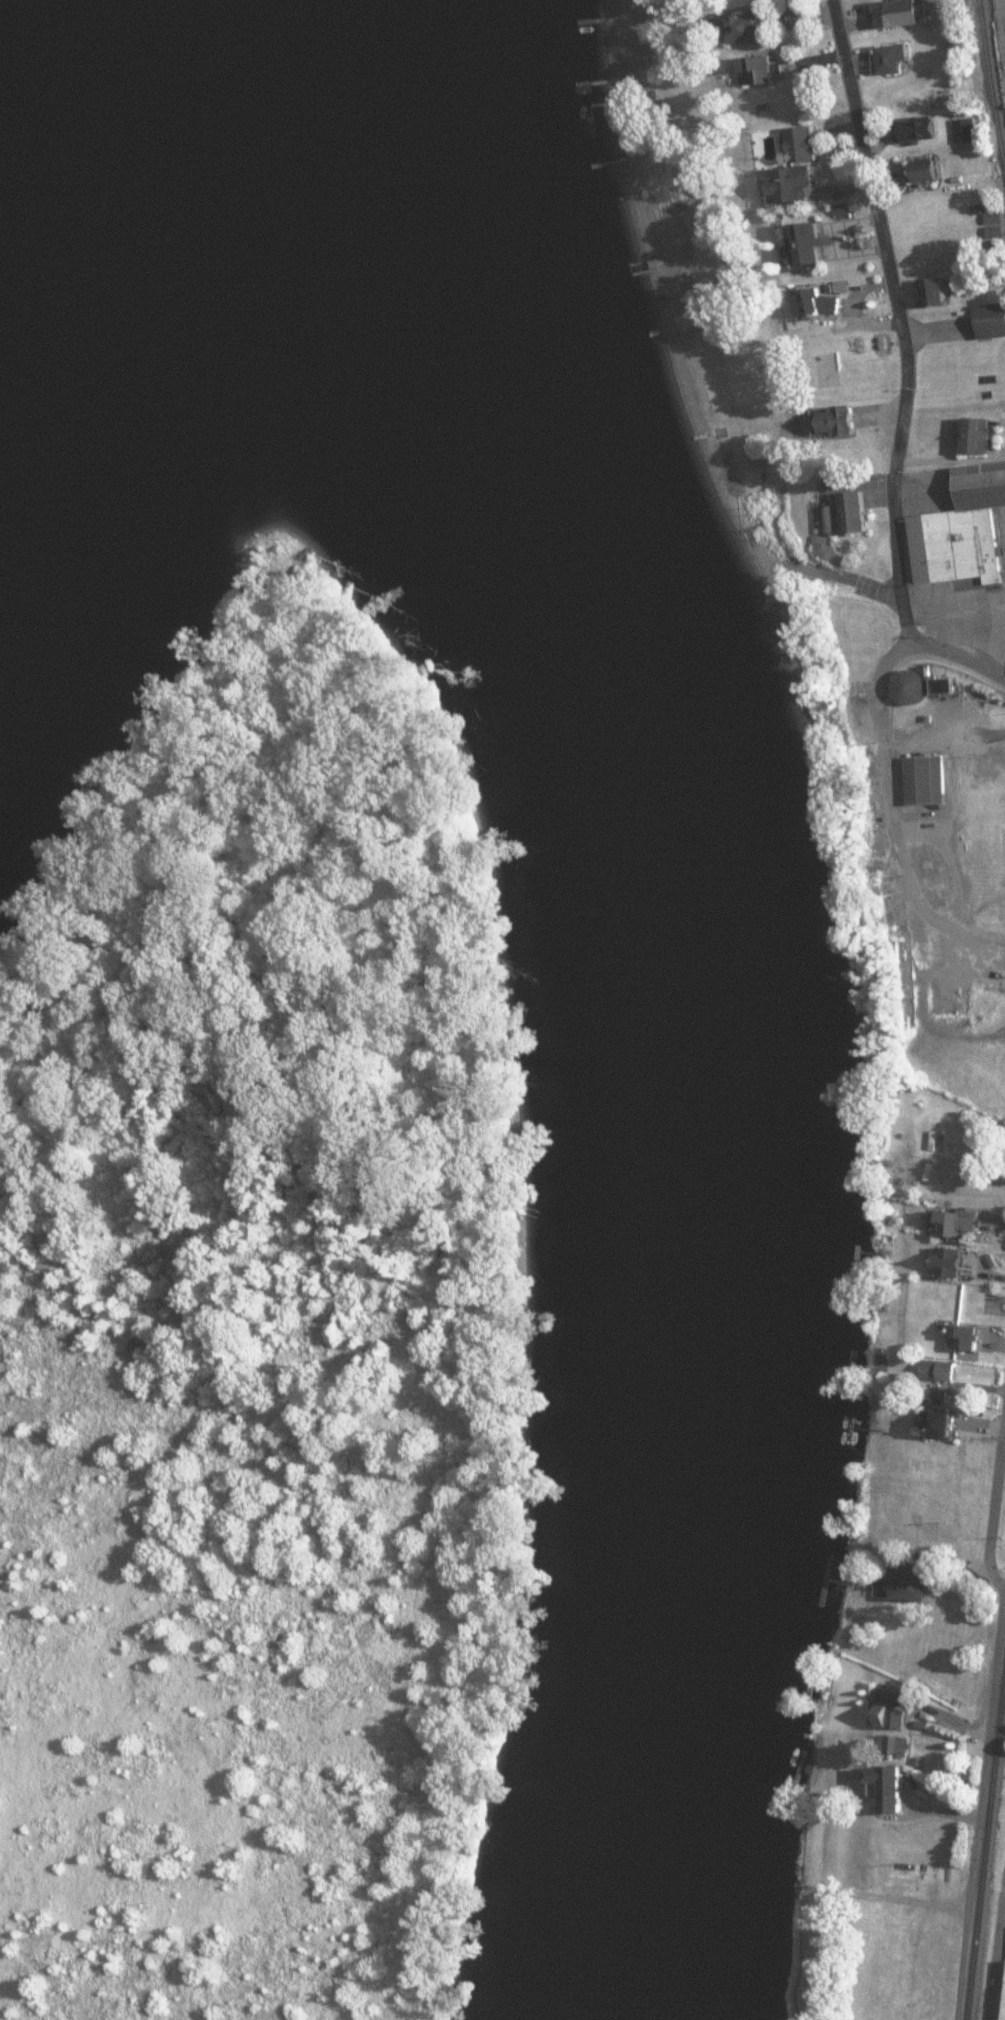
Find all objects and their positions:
building: (893, 13)
building: (748, 27)
parking lot: (1001, 31)
building: (892, 58)
building: (758, 70)
railway: (990, 80)
building: (919, 129)
building: (787, 146)
building: (926, 172)
building: (791, 184)
building: (810, 243)
building: (941, 294)
building: (817, 302)
building: (992, 321)
road: (899, 323)
building: (834, 421)
building: (982, 434)
building: (855, 512)
building: (965, 531)
road: (958, 651)
building: (913, 688)
building: (929, 781)
road: (897, 827)
building: (960, 1223)
building: (950, 1263)
building: (967, 1339)
building: (942, 1371)
building: (943, 1425)
road: (994, 1507)
building: (915, 1583)
building: (892, 1709)
building: (895, 1744)
building: (888, 1781)
railway: (986, 1854)
road: (1004, 1880)
road: (993, 1954)
building: (1000, 1990)

